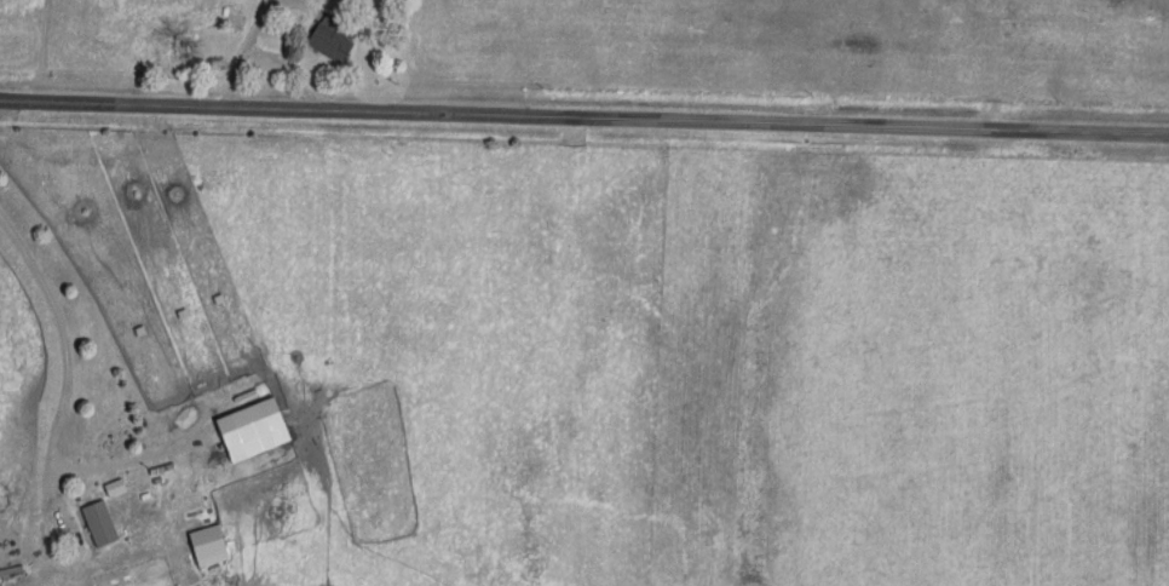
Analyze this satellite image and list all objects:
building: (330, 34)
road: (271, 54)
road: (584, 117)
road: (69, 344)
building: (250, 425)
building: (99, 519)
building: (208, 541)
road: (52, 553)

